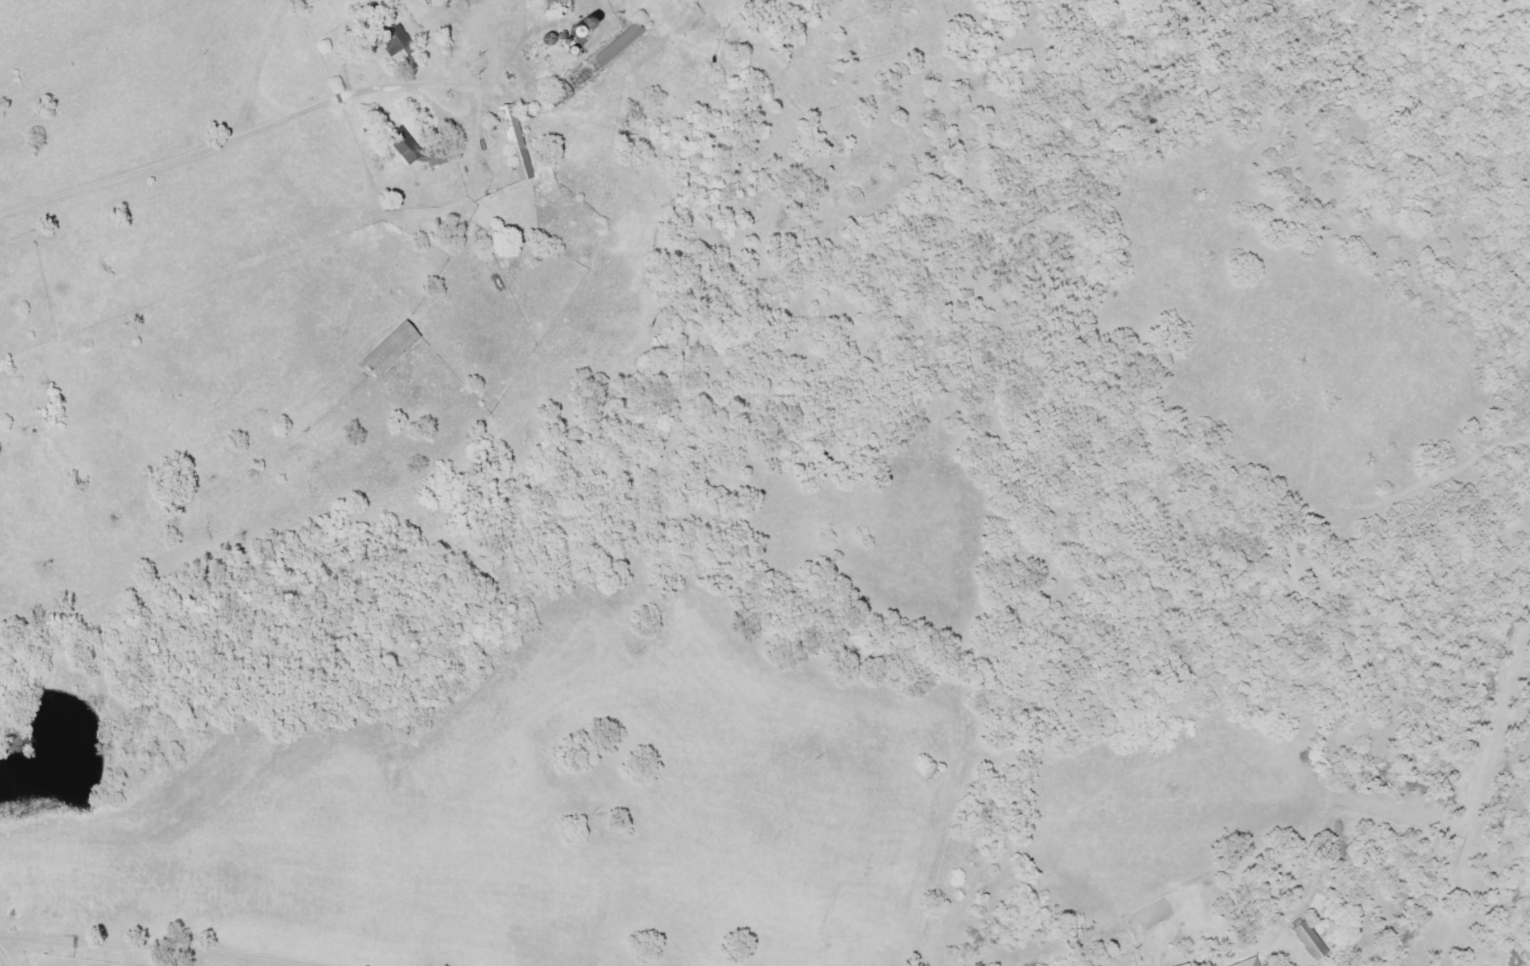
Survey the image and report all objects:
building: (552, 2)
building: (395, 42)
building: (618, 44)
road: (286, 123)
building: (515, 143)
building: (390, 347)
road: (26, 388)
road: (87, 940)
building: (1308, 940)
building: (1246, 962)
building: (1183, 965)
building: (1212, 965)

